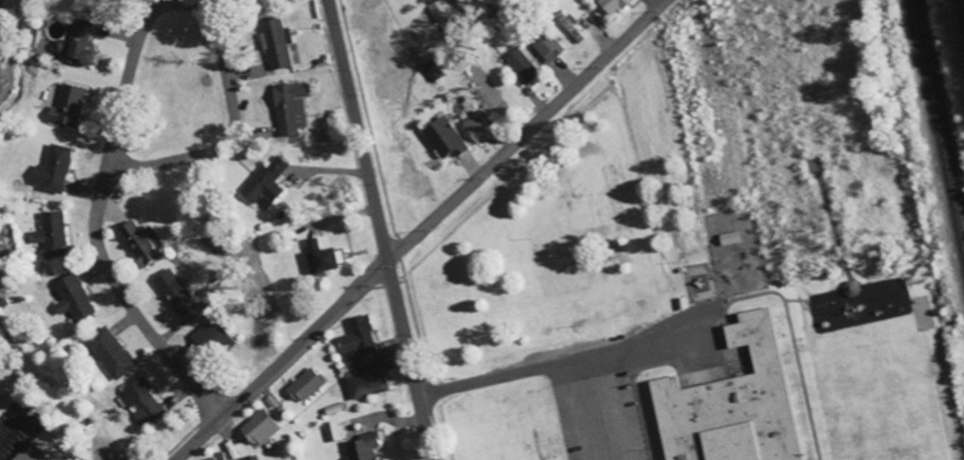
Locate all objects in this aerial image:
building: (610, 5)
building: (439, 9)
building: (568, 27)
road: (142, 33)
building: (273, 41)
building: (76, 42)
building: (545, 45)
building: (519, 65)
building: (429, 70)
building: (64, 106)
building: (286, 107)
building: (474, 129)
building: (440, 137)
railway: (936, 144)
building: (50, 170)
building: (263, 182)
road: (378, 230)
road: (419, 230)
building: (48, 234)
building: (138, 242)
building: (317, 256)
building: (172, 293)
building: (69, 298)
road: (119, 313)
building: (210, 338)
building: (355, 340)
building: (107, 353)
building: (364, 382)
building: (303, 385)
building: (140, 402)
building: (730, 404)
building: (256, 428)
building: (330, 431)
building: (359, 447)
building: (249, 458)

